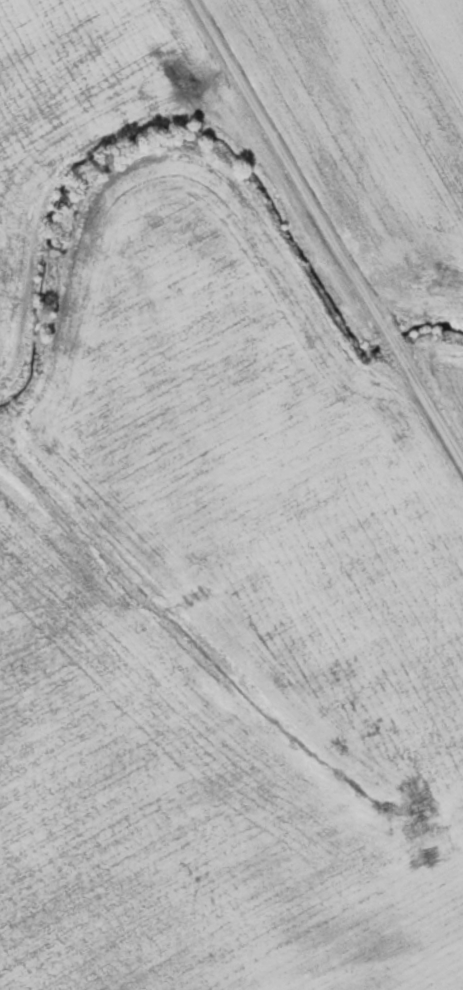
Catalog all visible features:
road: (328, 236)

